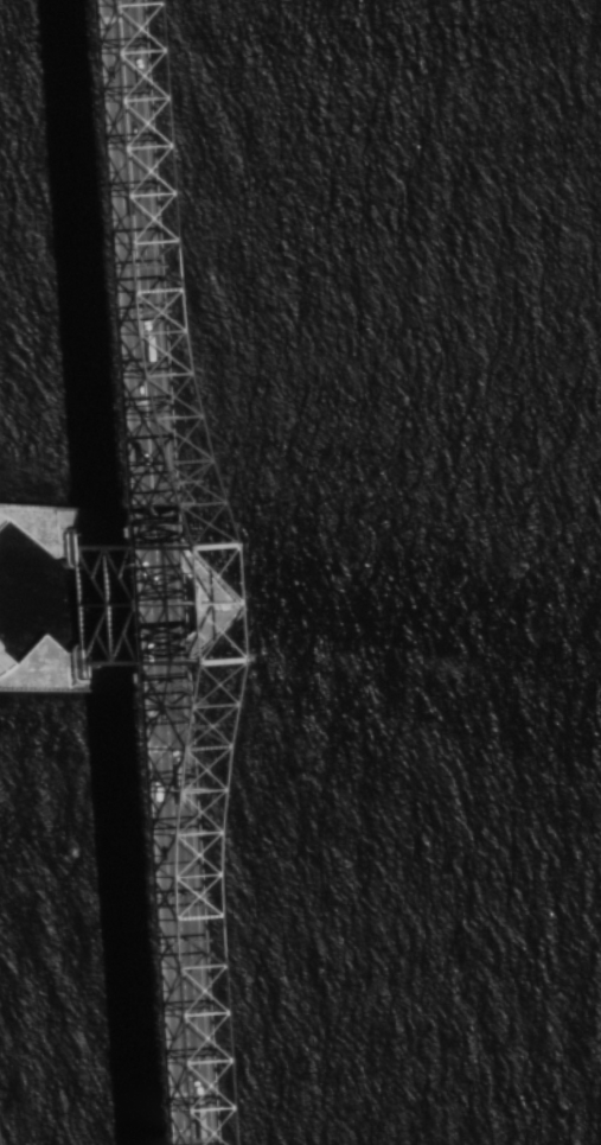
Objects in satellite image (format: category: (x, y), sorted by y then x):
building: (102, 542)
road: (103, 572)
pier: (212, 596)
building: (109, 660)

